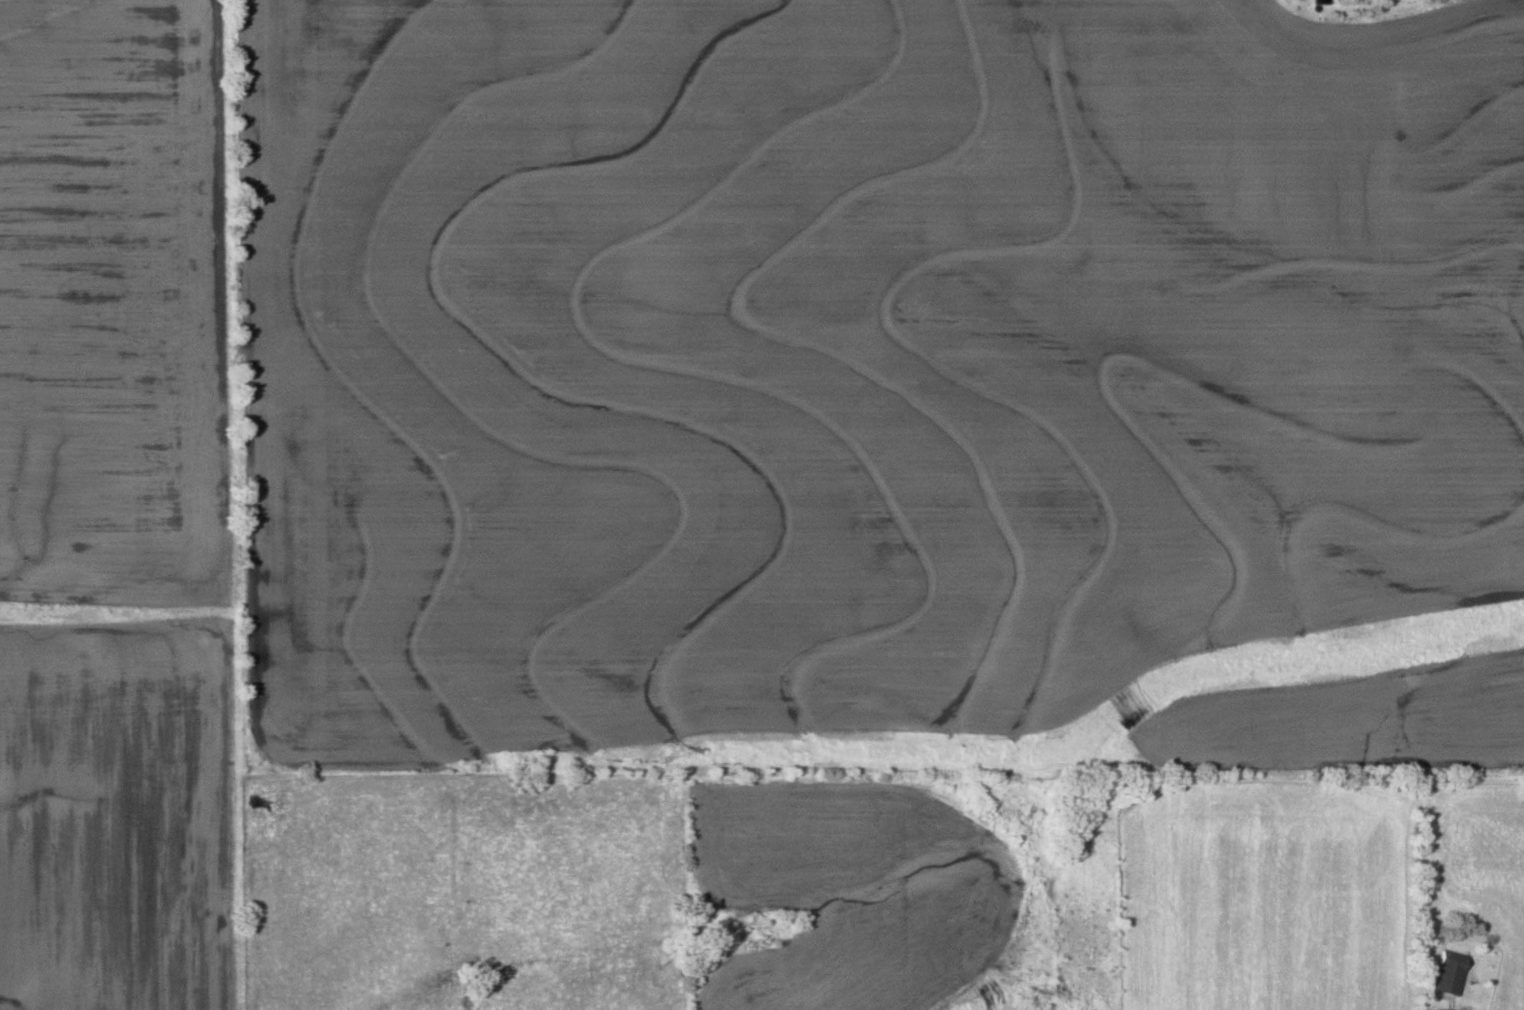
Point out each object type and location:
building: (1448, 973)

